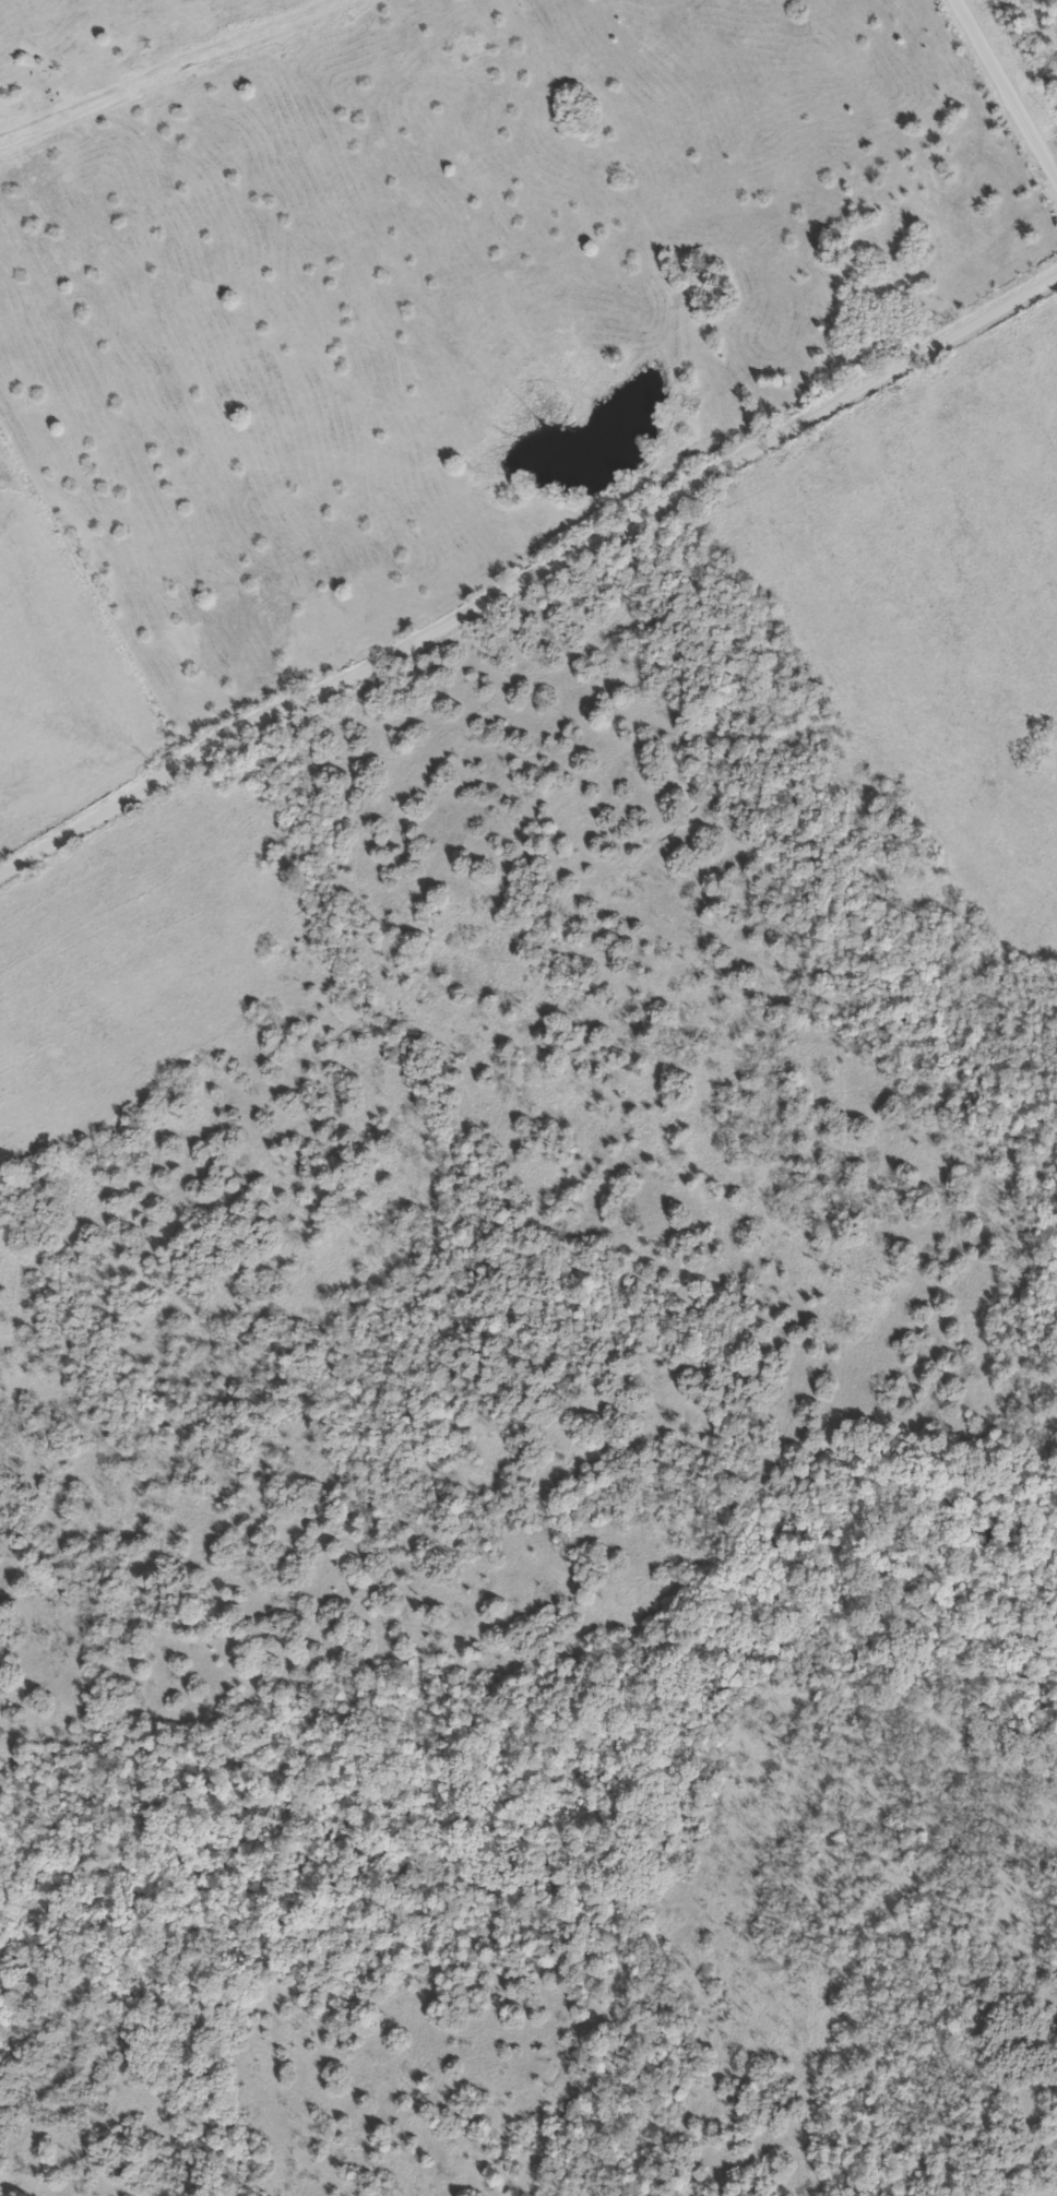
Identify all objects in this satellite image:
road: (173, 70)
road: (1006, 90)
road: (528, 577)

